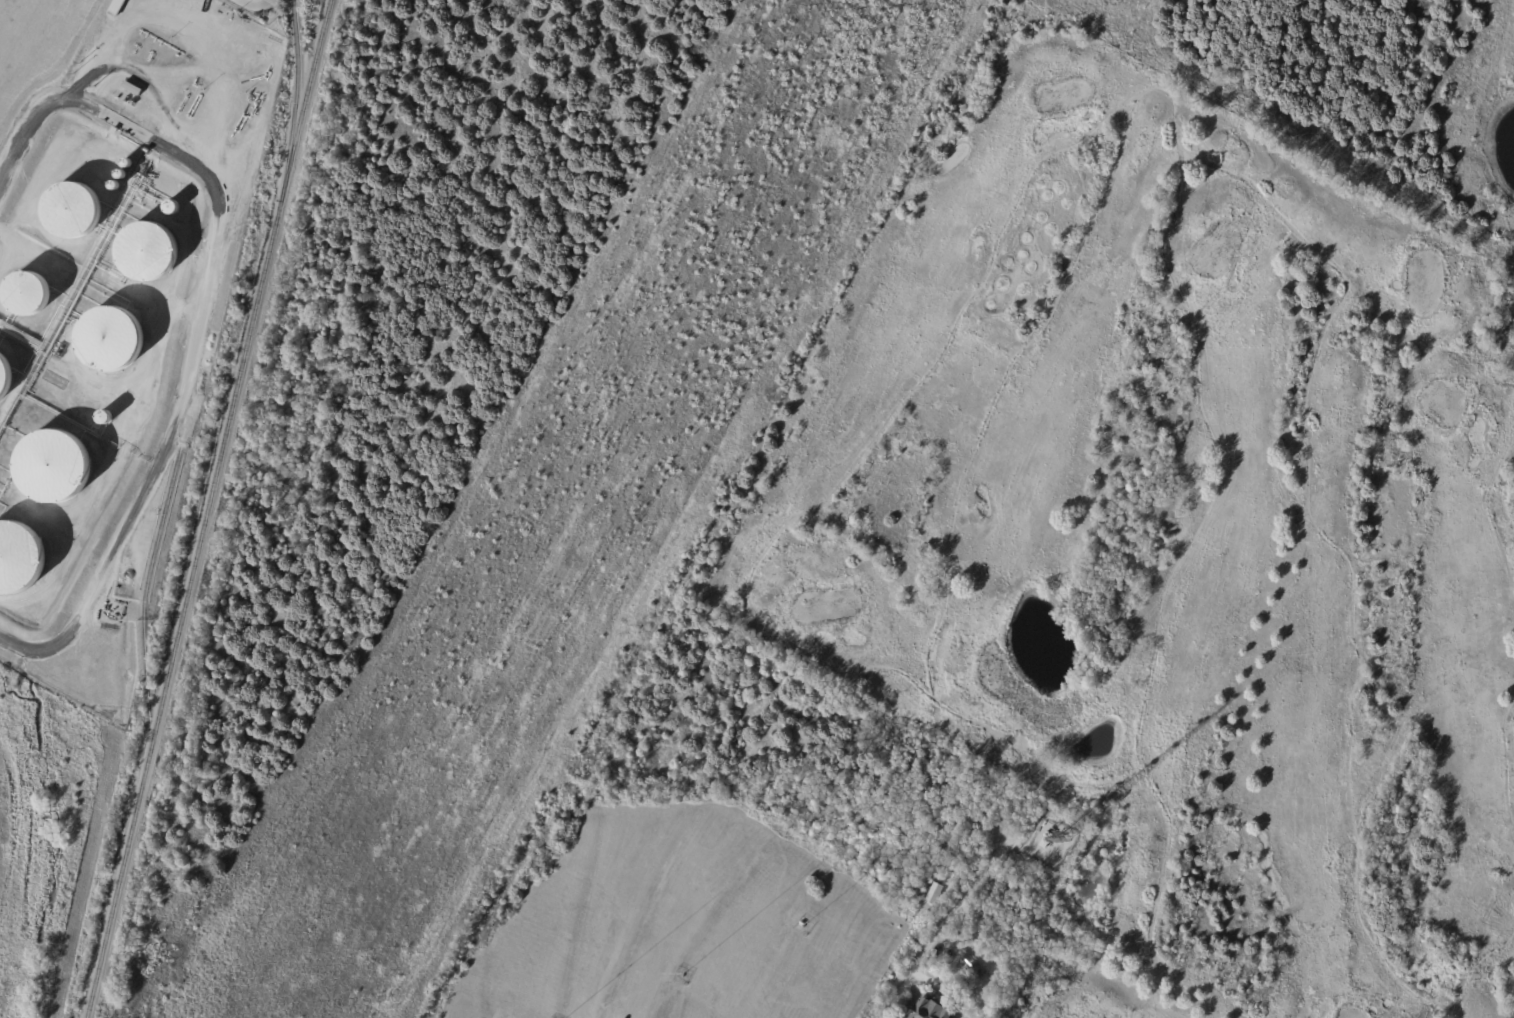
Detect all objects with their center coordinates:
building: (115, 7)
railway: (294, 101)
road: (1177, 207)
road: (874, 438)
railway: (206, 508)
road: (1488, 511)
park: (1164, 536)
road: (1343, 557)
railway: (148, 581)
road: (1014, 750)
road: (1505, 761)
building: (953, 852)
building: (924, 893)
road: (934, 943)
road: (1474, 965)
building: (926, 1010)

